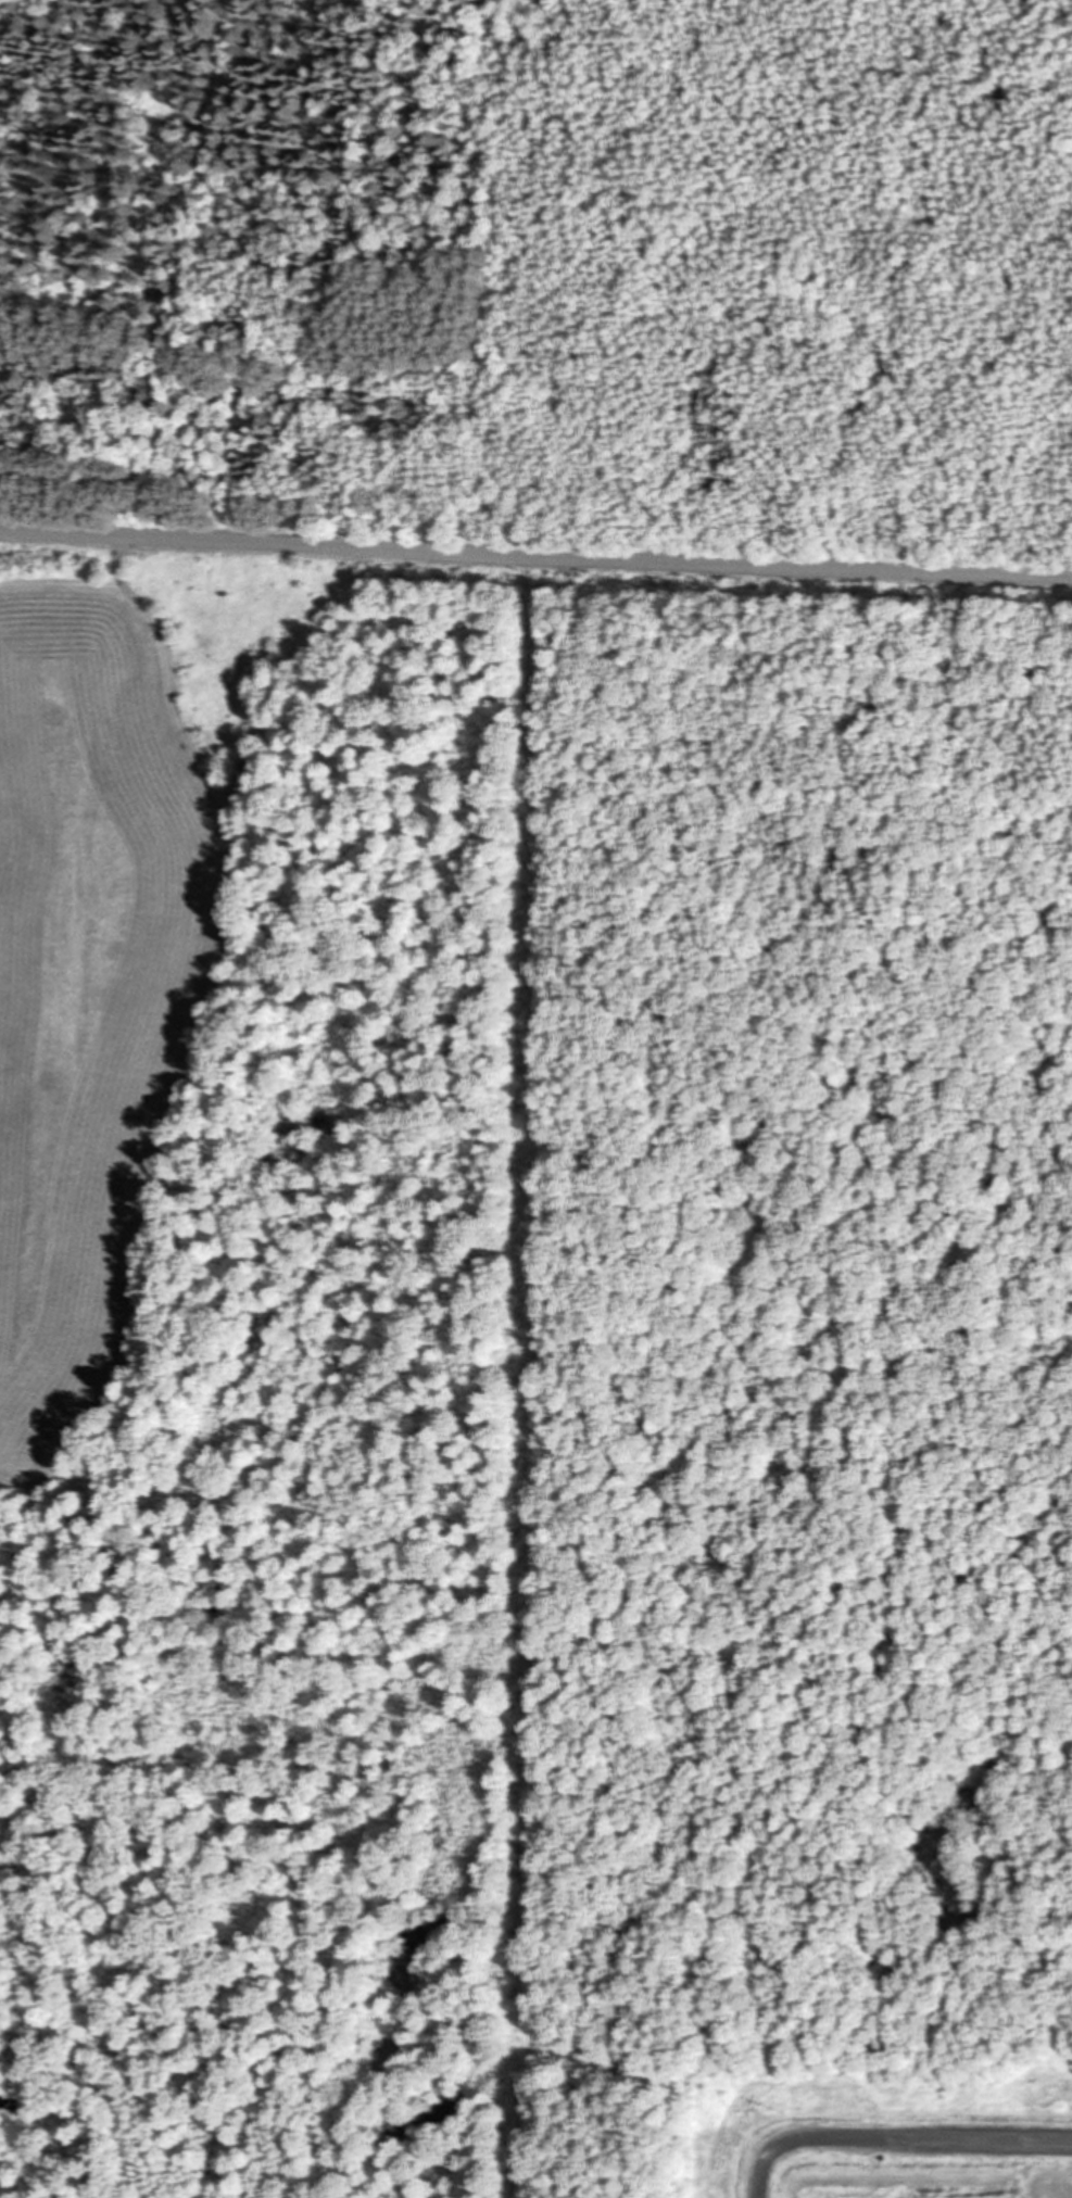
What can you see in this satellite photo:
road: (535, 556)
building: (244, 772)
road: (526, 1385)
landfill: (906, 2126)
road: (897, 2139)

